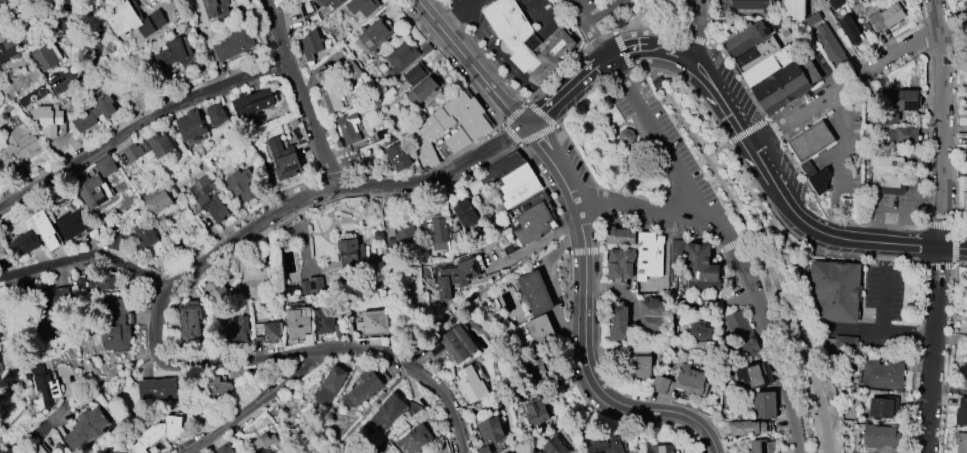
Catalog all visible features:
building: (326, 4)
road: (470, 4)
building: (835, 4)
road: (8, 5)
building: (362, 6)
parking lot: (604, 7)
building: (216, 8)
road: (648, 8)
building: (750, 8)
building: (792, 9)
road: (600, 10)
road: (630, 12)
road: (542, 13)
road: (451, 17)
building: (888, 17)
building: (132, 18)
building: (813, 19)
road: (700, 20)
building: (620, 22)
road: (658, 23)
road: (708, 23)
road: (591, 29)
building: (851, 31)
building: (375, 34)
road: (606, 36)
road: (838, 38)
building: (746, 39)
building: (525, 40)
building: (231, 45)
building: (831, 46)
building: (310, 47)
road: (954, 48)
building: (966, 48)
road: (622, 51)
road: (695, 51)
building: (8, 52)
road: (480, 52)
road: (927, 52)
building: (756, 54)
building: (175, 55)
building: (47, 58)
road: (506, 59)
building: (399, 60)
road: (449, 62)
road: (600, 63)
road: (472, 64)
building: (768, 65)
road: (854, 65)
road: (614, 66)
road: (641, 68)
building: (347, 70)
road: (735, 71)
road: (563, 72)
road: (625, 72)
building: (414, 74)
road: (704, 74)
building: (324, 76)
road: (614, 76)
building: (657, 82)
building: (785, 84)
building: (966, 85)
road: (845, 87)
building: (424, 88)
road: (302, 95)
road: (697, 96)
road: (641, 97)
building: (329, 99)
road: (580, 100)
building: (902, 100)
building: (252, 103)
road: (514, 113)
building: (966, 113)
building: (215, 114)
road: (541, 114)
road: (633, 117)
building: (49, 120)
building: (84, 120)
building: (966, 120)
road: (138, 121)
road: (605, 123)
building: (190, 126)
building: (348, 126)
building: (448, 126)
road: (637, 128)
road: (774, 128)
traffic signals: (526, 129)
road: (641, 129)
road: (747, 129)
building: (867, 131)
road: (614, 132)
road: (645, 136)
building: (904, 136)
road: (624, 137)
building: (625, 137)
road: (535, 139)
road: (663, 140)
building: (22, 141)
road: (525, 141)
road: (655, 141)
building: (810, 141)
building: (453, 143)
road: (615, 143)
park: (613, 145)
building: (149, 148)
road: (731, 148)
parking lot: (842, 151)
building: (966, 152)
road: (629, 153)
road: (312, 155)
building: (398, 157)
building: (283, 159)
road: (838, 164)
building: (106, 166)
building: (504, 166)
road: (693, 166)
road: (428, 168)
road: (952, 169)
road: (799, 170)
road: (559, 172)
building: (886, 172)
road: (954, 173)
road: (332, 176)
building: (515, 178)
road: (592, 179)
building: (820, 182)
road: (303, 183)
road: (678, 183)
building: (240, 184)
road: (546, 185)
building: (92, 191)
road: (339, 191)
road: (668, 191)
building: (521, 192)
road: (390, 195)
road: (919, 196)
road: (660, 198)
building: (209, 200)
building: (157, 201)
road: (599, 205)
road: (643, 205)
road: (891, 207)
building: (848, 208)
building: (964, 208)
building: (466, 213)
building: (527, 222)
building: (72, 224)
road: (876, 225)
road: (805, 226)
road: (941, 226)
building: (421, 227)
road: (778, 227)
building: (44, 229)
road: (648, 229)
road: (226, 230)
building: (439, 234)
building: (144, 235)
building: (377, 236)
building: (619, 236)
road: (745, 236)
building: (401, 238)
building: (459, 238)
road: (568, 240)
building: (114, 242)
road: (730, 243)
building: (23, 244)
road: (532, 246)
building: (1, 251)
road: (584, 251)
building: (351, 252)
building: (677, 252)
road: (758, 253)
road: (839, 254)
road: (84, 255)
building: (648, 255)
road: (726, 261)
road: (221, 262)
building: (620, 263)
building: (699, 263)
road: (77, 264)
road: (736, 268)
building: (456, 275)
road: (597, 277)
road: (159, 279)
building: (101, 281)
road: (496, 281)
road: (177, 284)
building: (256, 285)
building: (314, 285)
building: (215, 289)
building: (535, 292)
building: (833, 292)
parking lot: (881, 293)
road: (885, 310)
building: (652, 316)
road: (144, 319)
building: (323, 321)
road: (599, 321)
building: (617, 322)
building: (190, 323)
building: (372, 323)
building: (296, 324)
building: (114, 325)
road: (569, 325)
road: (765, 325)
building: (237, 330)
building: (540, 331)
building: (699, 331)
building: (267, 332)
building: (672, 335)
building: (742, 338)
building: (309, 339)
building: (843, 343)
building: (453, 344)
road: (948, 352)
road: (150, 353)
road: (297, 354)
road: (916, 359)
building: (636, 362)
road: (590, 363)
road: (398, 364)
building: (535, 372)
building: (882, 374)
building: (752, 375)
building: (691, 380)
building: (564, 383)
building: (966, 383)
building: (472, 384)
building: (44, 385)
building: (329, 385)
building: (661, 385)
building: (365, 387)
building: (156, 388)
building: (218, 389)
road: (264, 403)
building: (764, 405)
building: (881, 408)
building: (537, 412)
building: (961, 413)
building: (383, 417)
road: (644, 423)
building: (84, 428)
building: (747, 428)
road: (40, 430)
building: (491, 430)
building: (156, 433)
building: (881, 436)
building: (415, 439)
road: (707, 442)
building: (961, 442)
building: (267, 445)
building: (605, 445)
building: (555, 446)
building: (759, 446)
building: (659, 448)
building: (224, 449)
road: (330, 449)
road: (703, 449)
building: (38, 450)
building: (483, 450)
building: (120, 452)

